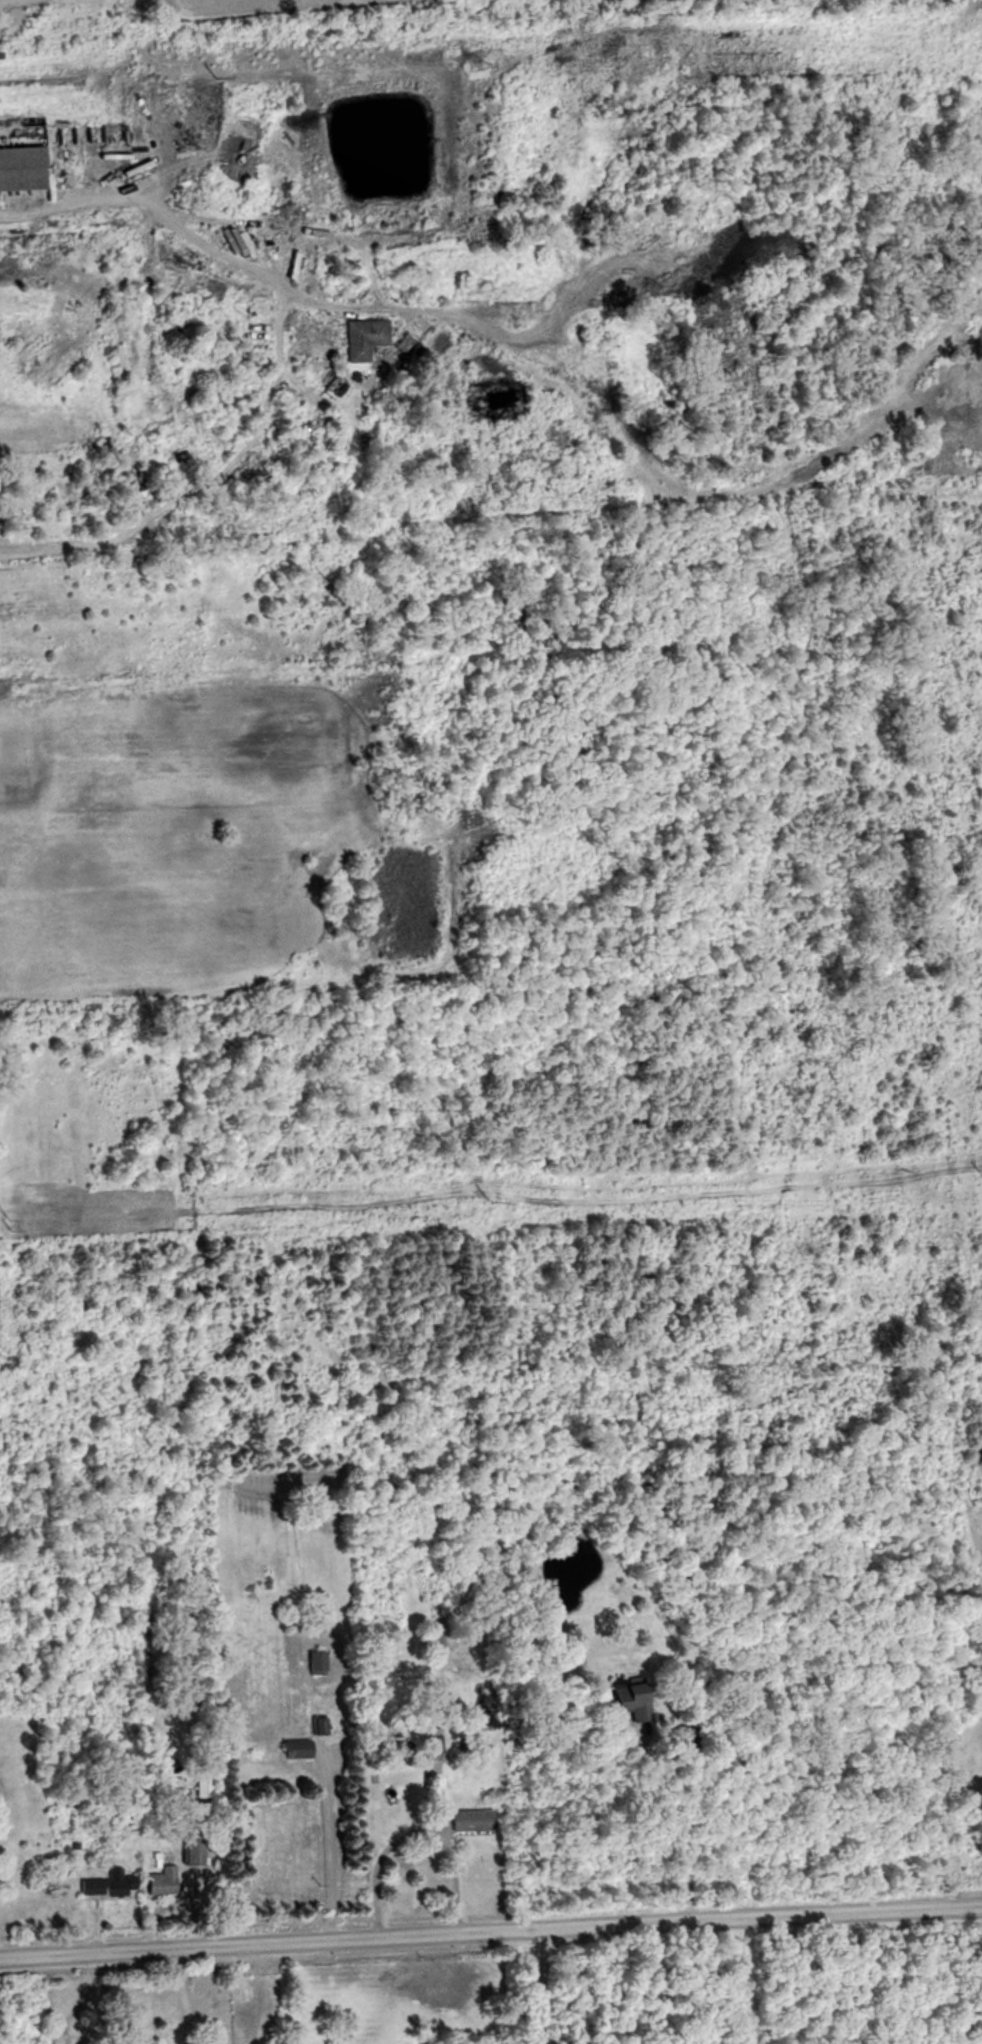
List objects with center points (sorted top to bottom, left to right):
road: (976, 23)
power tower: (469, 62)
building: (27, 169)
building: (356, 337)
road: (279, 352)
road: (524, 552)
power tower: (491, 1204)
power tower: (17, 1226)
building: (314, 1663)
building: (957, 1688)
building: (629, 1701)
building: (316, 1726)
building: (294, 1749)
building: (203, 1783)
building: (164, 1792)
building: (471, 1821)
road: (416, 1831)
road: (697, 1844)
building: (185, 1850)
road: (325, 1854)
building: (158, 1881)
building: (106, 1883)
road: (490, 1938)
road: (551, 1989)
road: (184, 2000)

